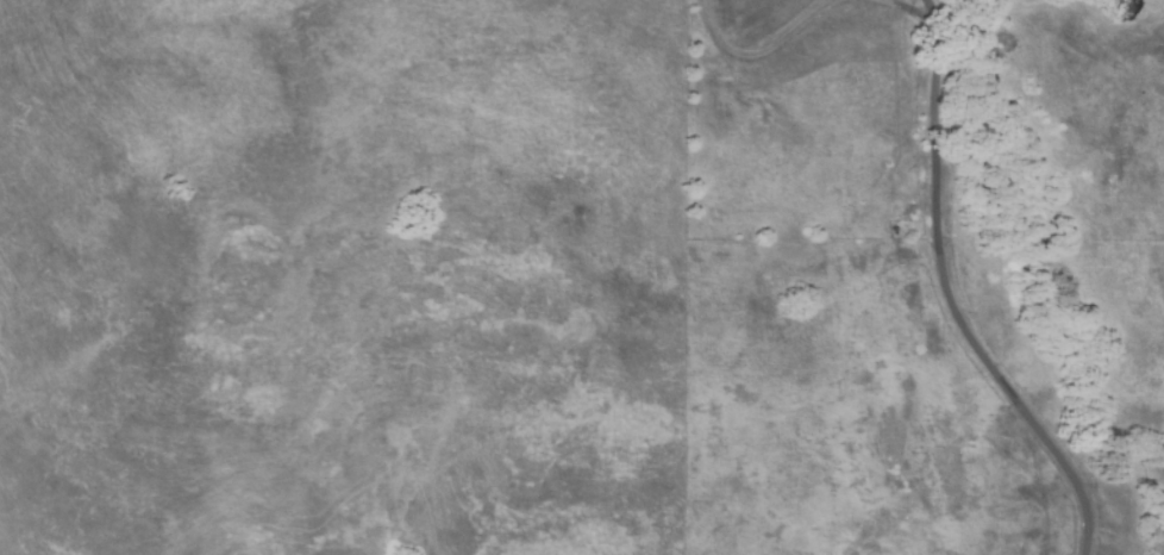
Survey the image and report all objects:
road: (951, 297)

